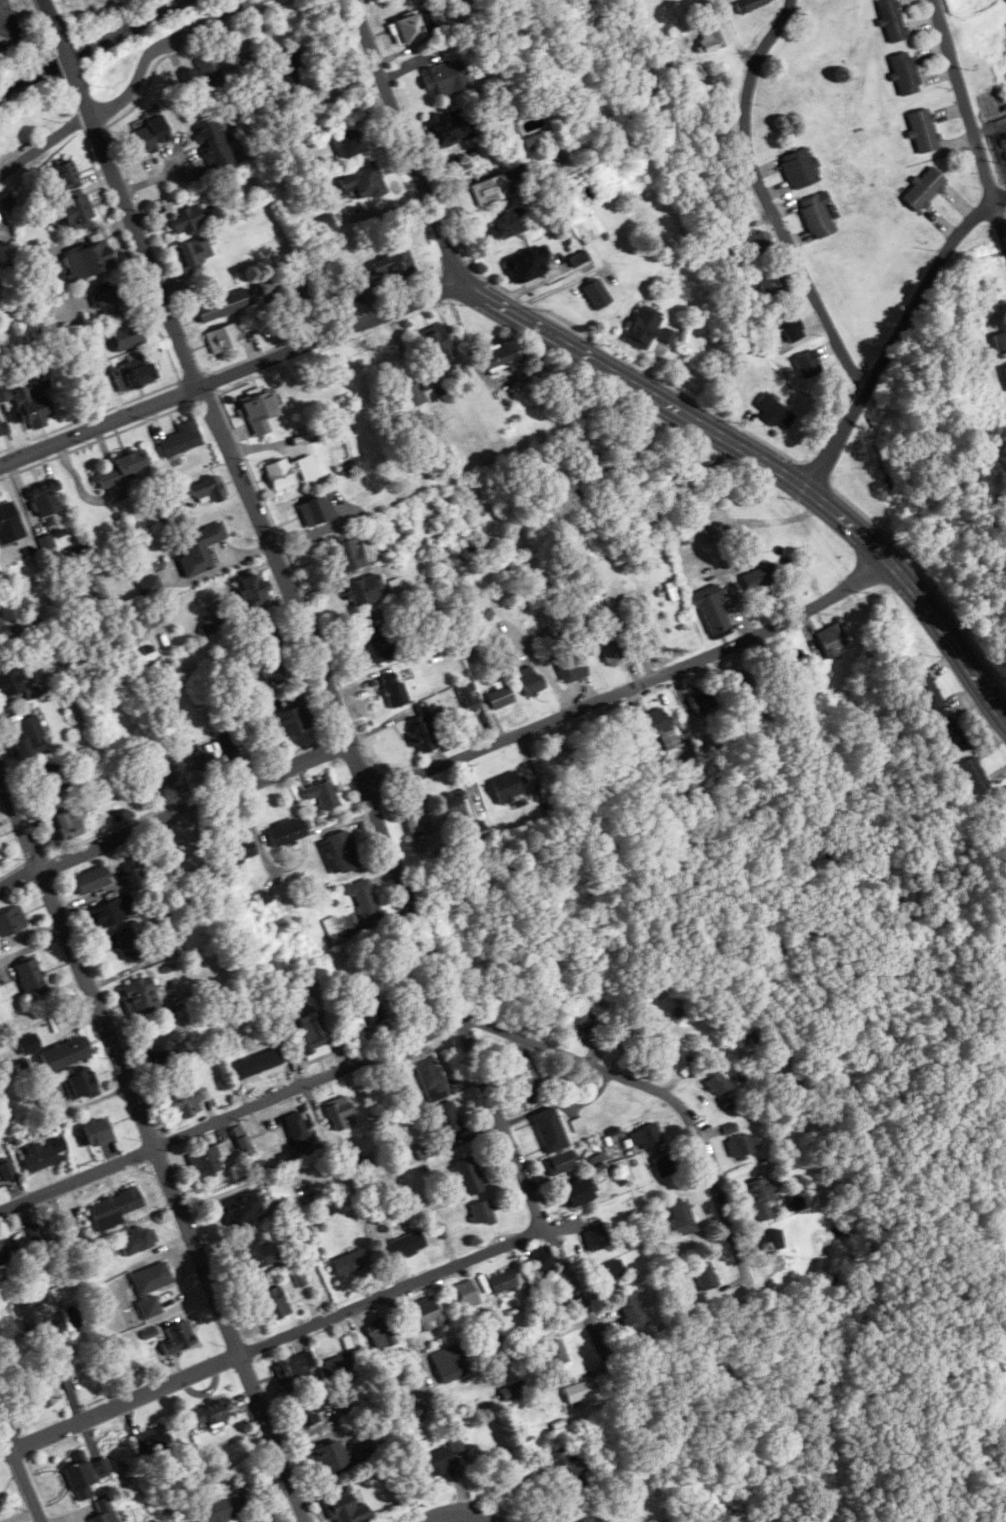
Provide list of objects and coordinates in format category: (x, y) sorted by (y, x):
building: (65, 0)
building: (751, 4)
building: (102, 5)
road: (46, 9)
building: (892, 19)
building: (415, 26)
building: (714, 37)
railway: (93, 45)
road: (66, 56)
building: (249, 69)
building: (290, 70)
building: (212, 71)
building: (905, 72)
building: (445, 78)
building: (190, 80)
road: (135, 90)
road: (969, 120)
building: (451, 126)
building: (923, 130)
building: (153, 134)
power substation: (999, 142)
building: (215, 143)
building: (350, 143)
building: (800, 167)
building: (65, 175)
building: (363, 181)
building: (924, 188)
building: (492, 189)
road: (769, 204)
building: (69, 212)
building: (817, 215)
building: (182, 218)
building: (328, 224)
building: (506, 224)
building: (760, 242)
building: (193, 253)
building: (394, 261)
building: (78, 263)
building: (528, 265)
building: (770, 283)
building: (596, 294)
building: (346, 298)
building: (110, 303)
building: (224, 305)
building: (791, 327)
building: (642, 328)
building: (126, 336)
road: (897, 336)
building: (224, 337)
building: (1000, 342)
building: (435, 343)
building: (502, 355)
building: (808, 364)
building: (1005, 368)
building: (135, 374)
road: (232, 375)
road: (636, 385)
building: (420, 393)
building: (33, 403)
building: (774, 411)
building: (260, 412)
building: (181, 439)
building: (639, 447)
building: (307, 468)
building: (120, 469)
building: (279, 474)
building: (686, 475)
building: (209, 489)
building: (45, 498)
building: (729, 508)
building: (316, 511)
building: (9, 524)
building: (648, 526)
building: (200, 548)
building: (347, 553)
building: (760, 578)
building: (150, 585)
building: (252, 590)
building: (365, 590)
building: (712, 611)
building: (10, 614)
building: (480, 617)
building: (268, 634)
building: (649, 635)
building: (377, 639)
building: (832, 639)
building: (611, 650)
building: (502, 652)
building: (791, 658)
road: (539, 663)
building: (571, 667)
building: (274, 673)
building: (530, 680)
building: (12, 683)
building: (742, 683)
road: (631, 685)
building: (395, 691)
building: (930, 694)
building: (470, 697)
building: (500, 698)
building: (703, 701)
building: (293, 716)
building: (661, 728)
building: (423, 730)
building: (953, 735)
building: (30, 738)
building: (212, 751)
road: (353, 753)
building: (568, 759)
building: (974, 774)
building: (156, 777)
building: (50, 780)
building: (508, 787)
building: (323, 793)
building: (453, 806)
road: (172, 812)
building: (417, 817)
building: (65, 826)
building: (287, 831)
building: (476, 837)
building: (236, 851)
building: (341, 852)
building: (0, 857)
building: (91, 880)
building: (365, 901)
building: (110, 912)
building: (11, 921)
building: (127, 945)
building: (32, 977)
building: (140, 997)
building: (370, 1011)
building: (590, 1024)
road: (435, 1027)
building: (310, 1034)
building: (166, 1047)
building: (66, 1053)
building: (679, 1060)
building: (258, 1064)
building: (431, 1077)
building: (523, 1079)
building: (82, 1084)
building: (718, 1084)
building: (184, 1104)
building: (339, 1113)
building: (7, 1114)
building: (449, 1118)
building: (298, 1130)
building: (550, 1130)
building: (96, 1133)
building: (647, 1137)
building: (243, 1142)
road: (154, 1143)
building: (742, 1145)
building: (40, 1157)
building: (208, 1160)
building: (562, 1162)
building: (664, 1166)
building: (7, 1171)
building: (470, 1176)
building: (577, 1191)
building: (761, 1199)
building: (116, 1205)
building: (243, 1209)
building: (482, 1212)
building: (679, 1220)
building: (31, 1235)
building: (596, 1239)
building: (772, 1239)
building: (138, 1240)
building: (404, 1246)
building: (259, 1254)
building: (1, 1256)
building: (544, 1261)
building: (350, 1262)
building: (610, 1272)
building: (706, 1276)
building: (503, 1282)
building: (465, 1295)
building: (274, 1303)
building: (41, 1308)
building: (632, 1311)
building: (428, 1313)
building: (382, 1334)
building: (179, 1337)
road: (277, 1339)
building: (555, 1352)
building: (449, 1362)
building: (335, 1366)
building: (292, 1369)
road: (382, 1386)
building: (513, 1390)
building: (579, 1391)
building: (45, 1395)
building: (309, 1411)
building: (211, 1413)
building: (411, 1416)
building: (152, 1441)
building: (330, 1455)
building: (437, 1460)
building: (567, 1466)
road: (20, 1471)
building: (0, 1504)
building: (346, 1508)
building: (217, 1509)
building: (103, 1512)
road: (458, 1514)
building: (593, 1517)

